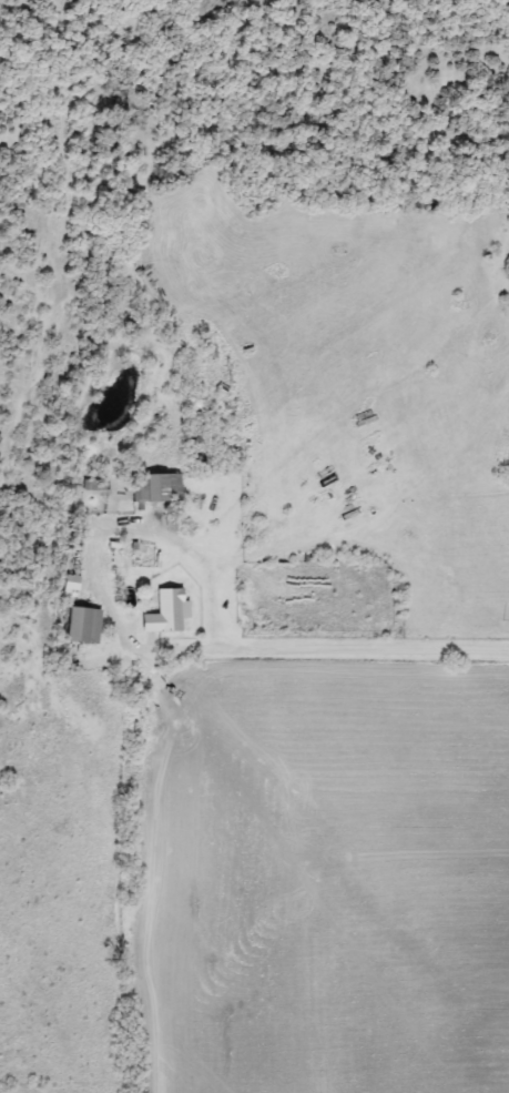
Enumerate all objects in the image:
building: (153, 487)
road: (130, 520)
building: (164, 611)
building: (80, 625)
road: (328, 644)

